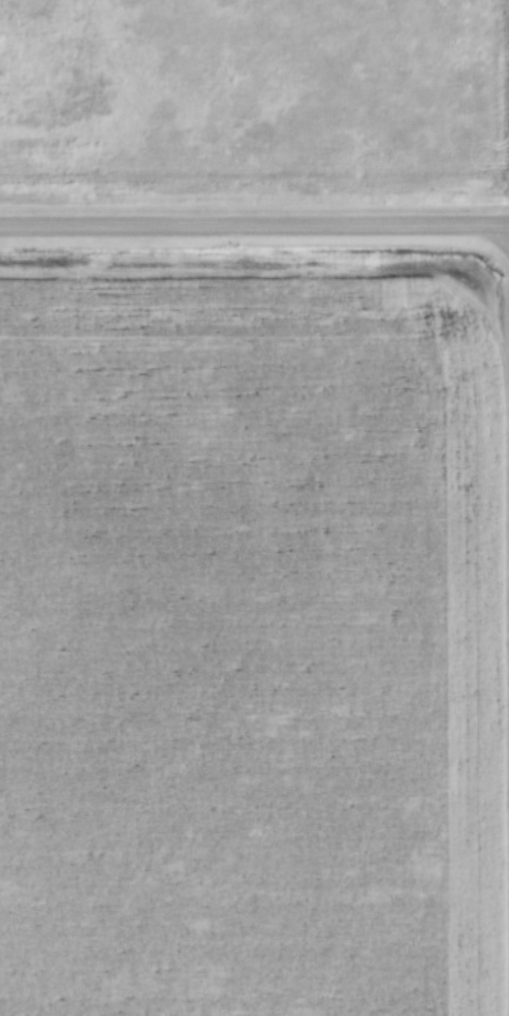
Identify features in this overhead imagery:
road: (254, 231)

